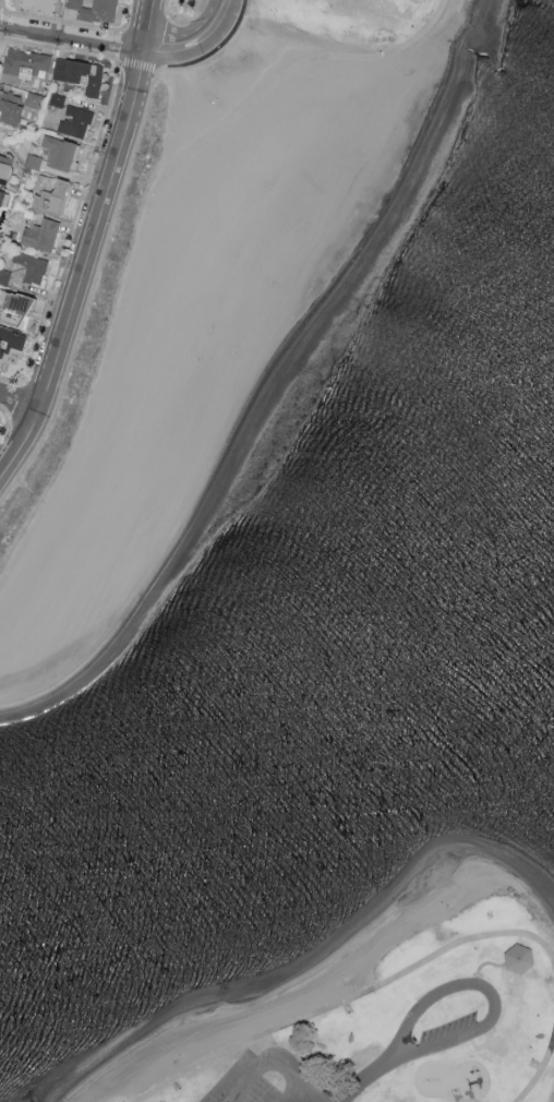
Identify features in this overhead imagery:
building: (37, 4)
building: (94, 10)
park: (339, 17)
road: (72, 37)
road: (194, 39)
building: (22, 63)
building: (64, 76)
building: (32, 98)
building: (9, 108)
building: (74, 121)
building: (59, 152)
building: (3, 167)
building: (1, 194)
building: (49, 197)
road: (146, 225)
building: (39, 233)
road: (87, 243)
building: (31, 266)
building: (13, 308)
road: (17, 406)
building: (517, 957)
road: (346, 1001)
road: (429, 1002)
park: (383, 1014)
parking lot: (450, 1031)
road: (457, 1038)
road: (270, 1065)
road: (539, 1076)
parking lot: (266, 1080)
road: (366, 1081)
road: (293, 1094)

